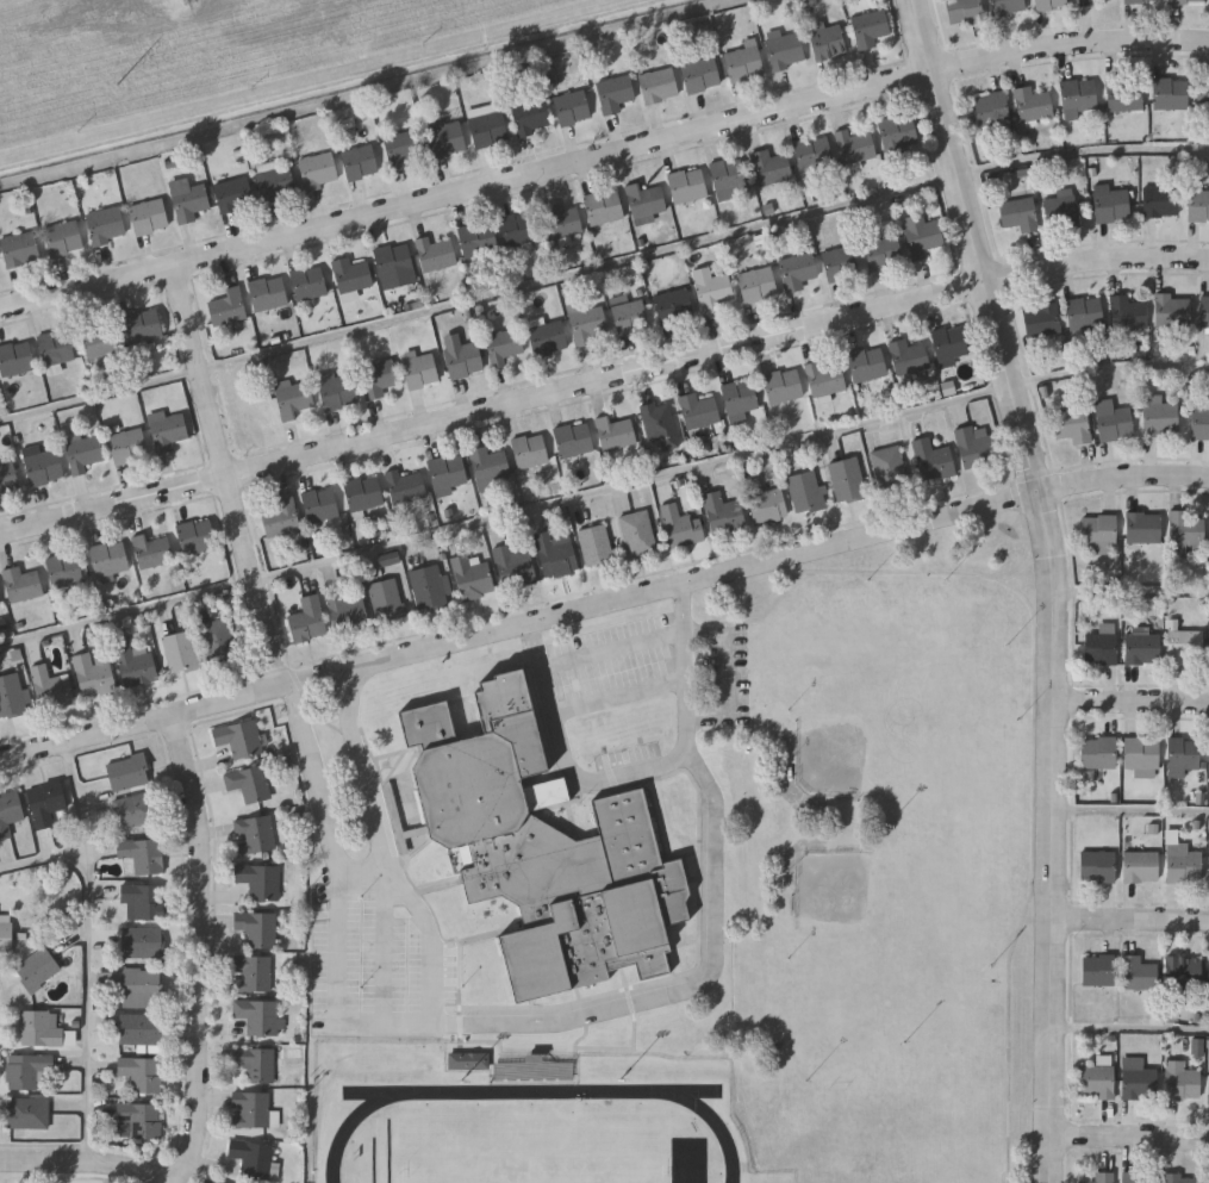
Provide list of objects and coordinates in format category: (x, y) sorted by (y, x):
building: (1141, 0)
building: (1185, 1)
building: (1086, 2)
building: (1049, 4)
building: (1007, 6)
building: (964, 11)
building: (871, 29)
building: (828, 41)
building: (785, 50)
building: (744, 63)
building: (700, 75)
building: (660, 86)
building: (1203, 93)
building: (615, 94)
building: (1171, 94)
building: (1126, 95)
building: (1078, 98)
building: (1033, 104)
building: (572, 108)
building: (992, 110)
building: (534, 117)
building: (488, 130)
building: (898, 132)
building: (445, 136)
building: (855, 147)
building: (403, 149)
road: (600, 157)
building: (815, 157)
building: (360, 163)
building: (772, 168)
building: (319, 172)
building: (729, 174)
building: (276, 185)
building: (688, 186)
building: (233, 193)
building: (1160, 201)
building: (646, 203)
building: (1113, 203)
building: (192, 204)
building: (1198, 205)
building: (604, 207)
building: (1062, 210)
building: (1020, 212)
building: (149, 217)
building: (561, 222)
building: (106, 225)
building: (519, 229)
building: (923, 235)
building: (63, 238)
building: (478, 238)
road: (703, 239)
building: (21, 249)
building: (884, 253)
building: (436, 255)
building: (394, 261)
building: (841, 264)
building: (798, 272)
building: (351, 275)
building: (310, 282)
building: (759, 285)
building: (713, 291)
building: (268, 293)
building: (674, 306)
building: (229, 307)
building: (1172, 311)
building: (1128, 312)
building: (1204, 312)
building: (1086, 313)
building: (629, 316)
building: (1042, 319)
building: (143, 325)
building: (588, 325)
building: (101, 338)
building: (548, 338)
building: (951, 343)
building: (504, 347)
building: (56, 348)
building: (909, 357)
building: (15, 359)
building: (465, 360)
building: (868, 365)
road: (1110, 366)
building: (422, 372)
building: (827, 378)
building: (380, 379)
road: (602, 380)
building: (783, 387)
building: (337, 391)
road: (101, 394)
building: (740, 398)
building: (294, 400)
building: (700, 412)
building: (254, 415)
building: (1160, 416)
building: (1113, 421)
building: (1073, 422)
building: (1199, 423)
building: (660, 425)
building: (169, 431)
building: (615, 434)
building: (574, 440)
building: (129, 447)
building: (976, 447)
building: (530, 452)
building: (86, 456)
building: (934, 461)
building: (43, 466)
building: (488, 467)
building: (890, 469)
building: (448, 473)
road: (230, 477)
road: (1020, 477)
building: (8, 479)
building: (848, 481)
road: (637, 482)
building: (406, 487)
building: (808, 492)
building: (364, 493)
building: (320, 505)
building: (767, 505)
building: (723, 513)
building: (282, 518)
building: (1143, 527)
building: (681, 528)
building: (1185, 528)
building: (1098, 530)
building: (638, 534)
building: (198, 536)
building: (597, 546)
road: (1033, 550)
building: (154, 552)
building: (556, 556)
building: (110, 559)
building: (390, 560)
building: (515, 566)
road: (748, 567)
building: (66, 571)
building: (472, 578)
road: (1055, 583)
building: (21, 585)
building: (432, 589)
road: (1133, 591)
building: (0, 600)
building: (387, 600)
building: (347, 609)
road: (130, 611)
building: (309, 619)
building: (220, 640)
building: (1142, 647)
building: (1185, 647)
road: (616, 648)
building: (1101, 648)
building: (181, 653)
building: (136, 665)
building: (93, 674)
building: (52, 687)
park: (903, 693)
building: (13, 697)
road: (623, 698)
road: (1133, 702)
road: (1035, 705)
road: (145, 721)
building: (239, 739)
building: (1098, 752)
building: (1141, 755)
building: (1183, 755)
building: (129, 772)
road: (316, 773)
road: (638, 774)
building: (250, 784)
building: (45, 803)
road: (1133, 809)
building: (135, 811)
building: (10, 814)
building: (255, 834)
road: (86, 835)
road: (394, 847)
building: (543, 849)
building: (142, 857)
park: (881, 857)
building: (1183, 863)
building: (1141, 865)
building: (1097, 866)
building: (261, 880)
road: (370, 882)
building: (143, 902)
road: (1133, 920)
building: (258, 929)
building: (6, 933)
building: (143, 942)
park: (891, 945)
road: (204, 947)
road: (388, 951)
building: (38, 969)
building: (1098, 969)
building: (1138, 972)
building: (253, 973)
building: (1184, 978)
building: (138, 986)
road: (87, 998)
building: (260, 1016)
road: (571, 1019)
road: (1132, 1027)
building: (42, 1028)
building: (141, 1028)
building: (467, 1060)
building: (256, 1064)
building: (531, 1070)
building: (26, 1071)
building: (142, 1073)
building: (1096, 1081)
building: (1182, 1082)
building: (1139, 1083)
building: (250, 1110)
building: (29, 1113)
building: (138, 1121)
road: (1132, 1138)
building: (254, 1159)
road: (1071, 1160)
road: (88, 1164)
building: (1101, 1178)
building: (1138, 1178)
building: (1182, 1179)
building: (218, 1182)

